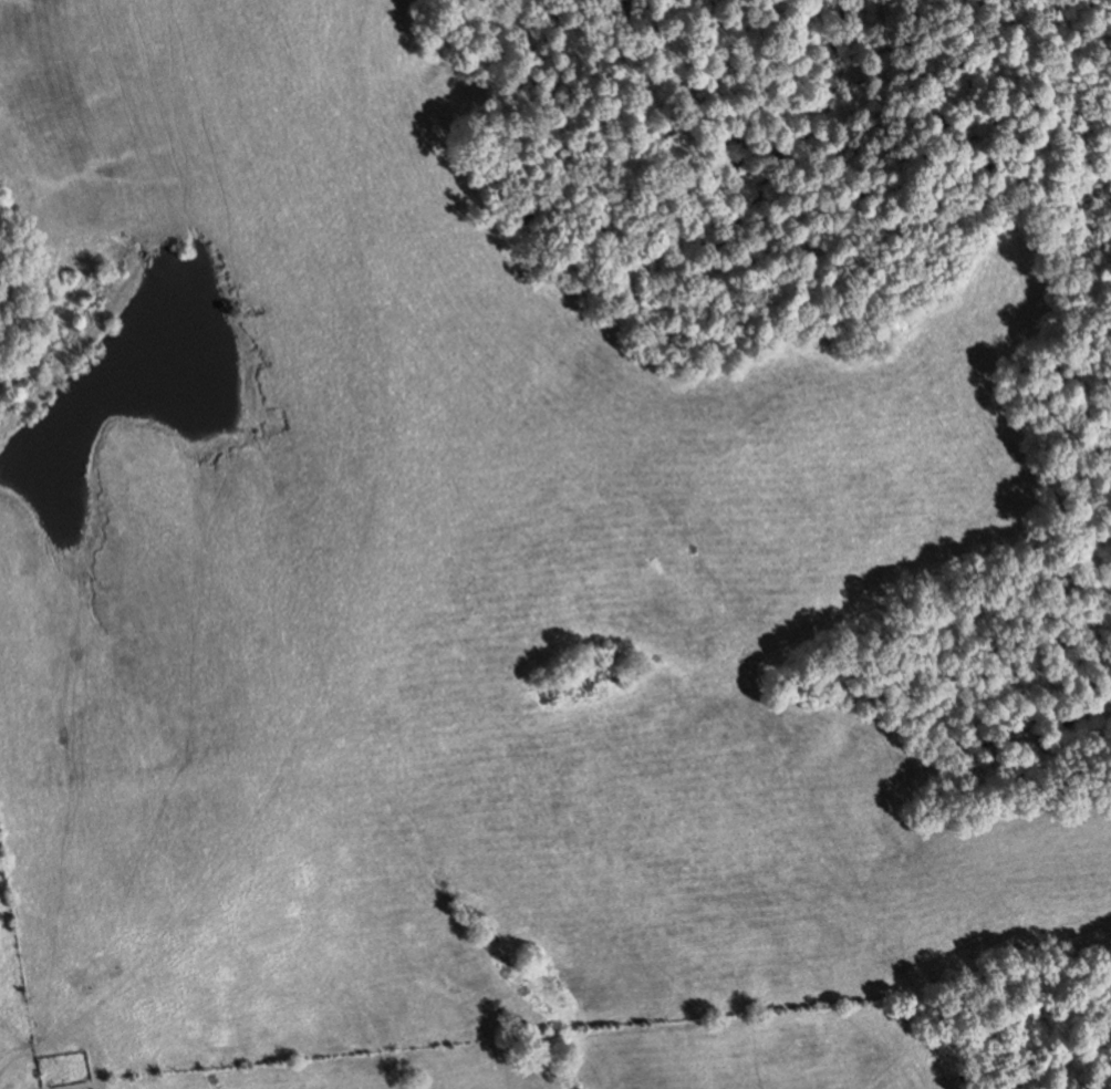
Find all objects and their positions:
road: (1035, 1009)

